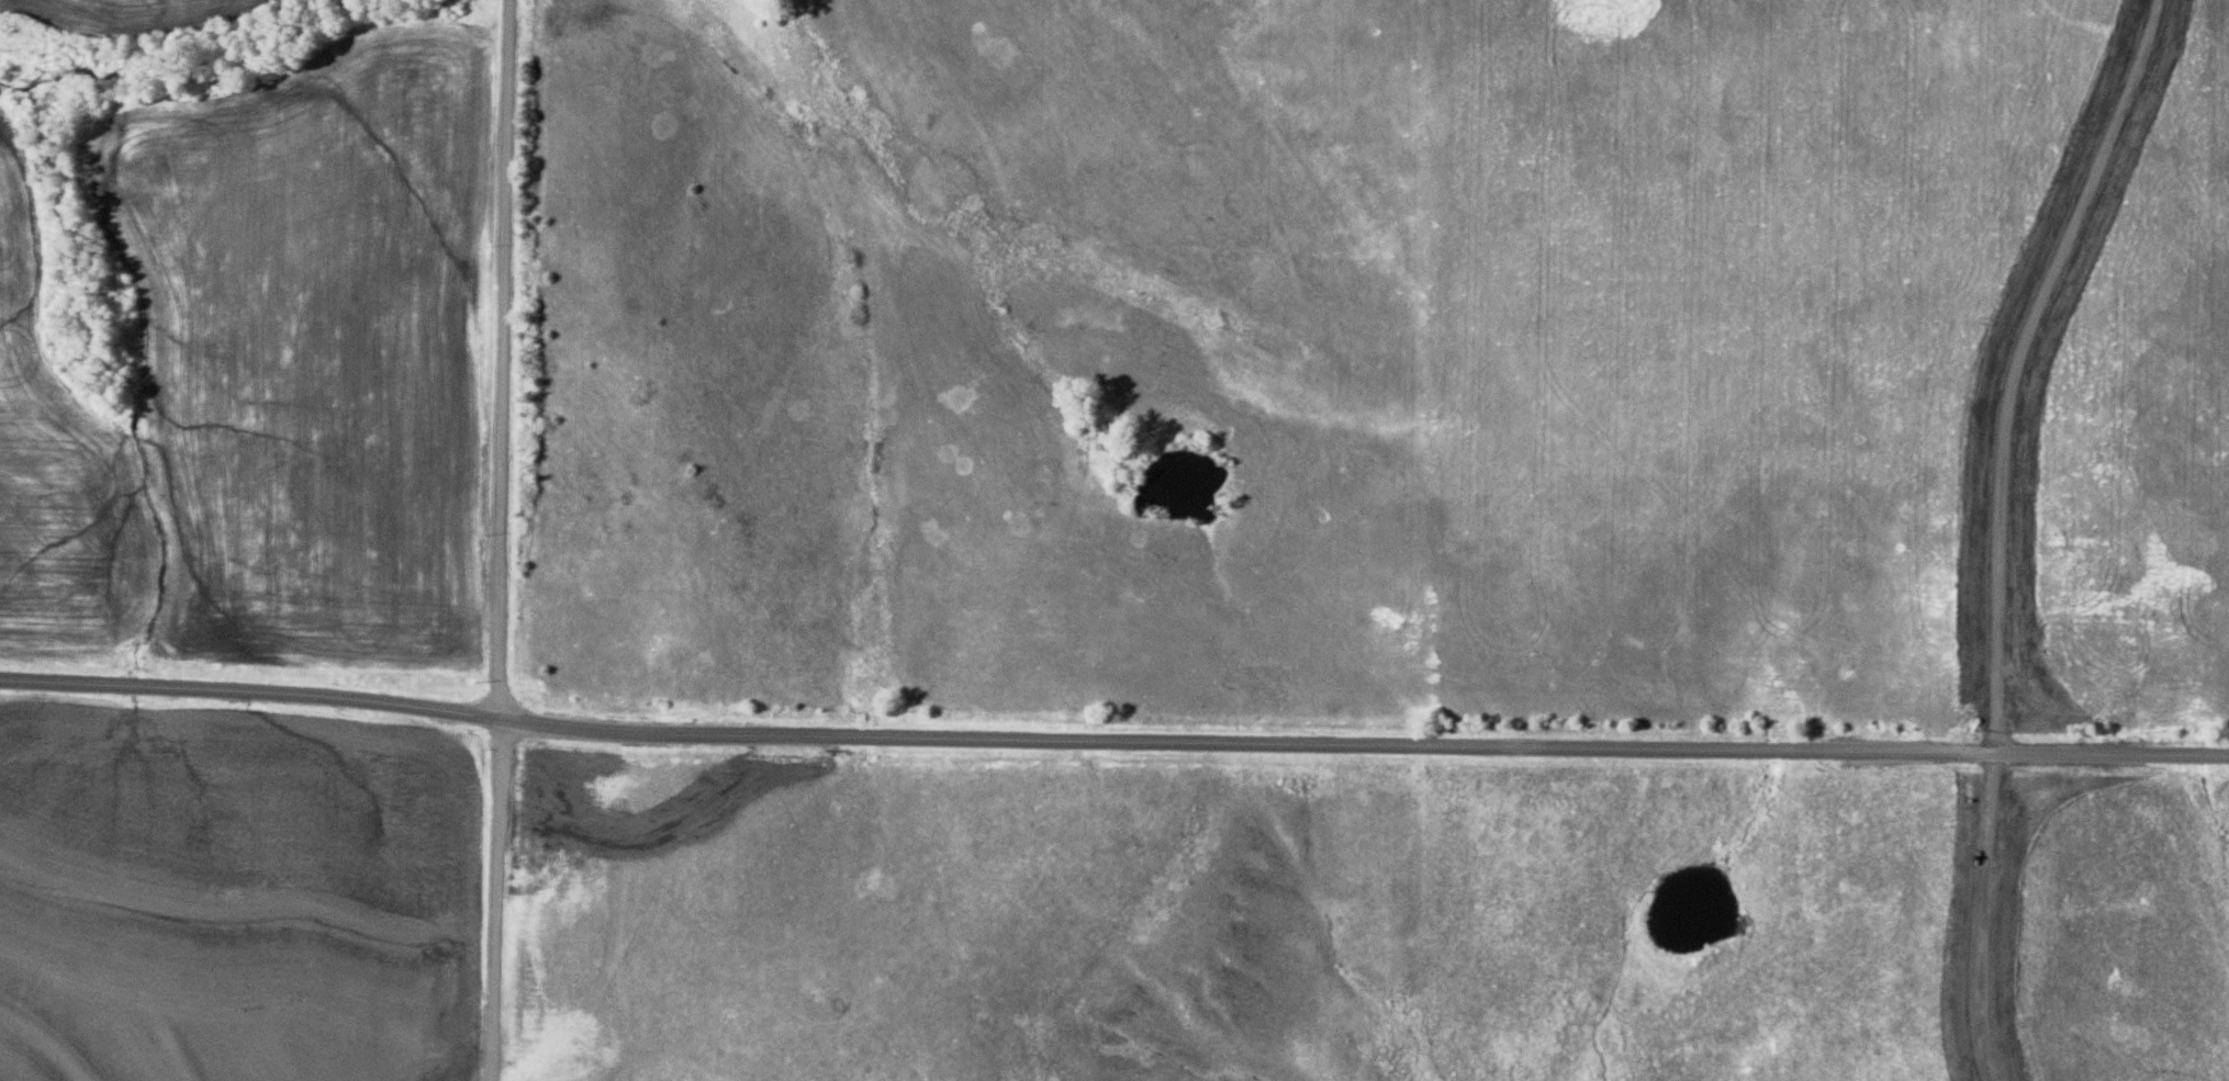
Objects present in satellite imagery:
road: (502, 540)
road: (1112, 740)
building: (536, 859)

